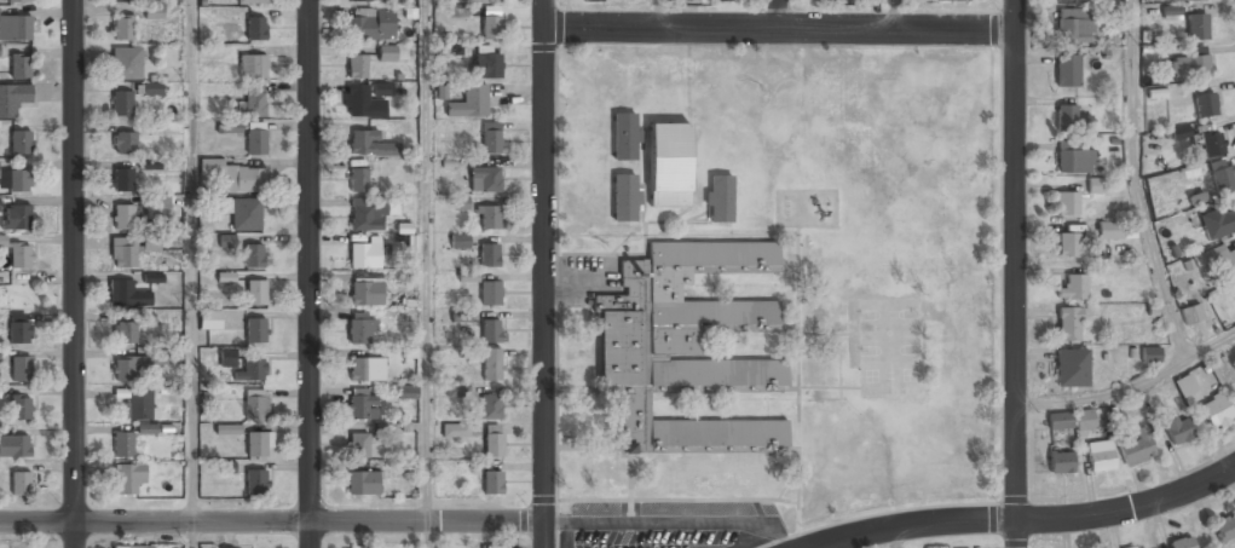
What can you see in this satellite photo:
building: (721, 0)
building: (953, 0)
building: (1070, 0)
building: (1187, 0)
building: (18, 1)
building: (123, 1)
building: (359, 1)
building: (484, 1)
building: (591, 1)
building: (827, 1)
building: (252, 2)
building: (155, 12)
building: (1171, 12)
road: (659, 13)
road: (777, 15)
road: (894, 15)
building: (1073, 25)
building: (1196, 25)
building: (371, 27)
building: (15, 28)
building: (491, 28)
building: (122, 29)
building: (256, 29)
road: (779, 29)
building: (387, 52)
building: (0, 53)
building: (125, 64)
building: (486, 65)
building: (1189, 65)
building: (21, 67)
building: (253, 67)
building: (357, 68)
building: (1067, 70)
building: (152, 88)
building: (382, 90)
building: (13, 99)
building: (468, 103)
building: (121, 104)
building: (253, 104)
building: (362, 104)
building: (1205, 104)
building: (1070, 119)
building: (229, 127)
building: (1181, 133)
building: (624, 135)
building: (491, 139)
building: (256, 142)
building: (21, 143)
building: (1210, 143)
building: (123, 144)
building: (369, 144)
building: (1073, 157)
building: (666, 165)
building: (149, 166)
building: (233, 177)
building: (122, 180)
building: (357, 180)
building: (484, 180)
building: (1223, 180)
building: (15, 181)
road: (1135, 181)
building: (1096, 185)
building: (623, 197)
building: (720, 198)
building: (461, 203)
building: (1067, 203)
building: (157, 208)
building: (370, 213)
building: (246, 214)
building: (123, 217)
building: (17, 218)
building: (489, 218)
building: (1229, 219)
building: (1109, 230)
building: (2, 241)
building: (227, 241)
building: (460, 241)
building: (1069, 246)
building: (123, 253)
building: (364, 255)
building: (489, 255)
building: (21, 256)
building: (253, 258)
building: (1216, 260)
road: (189, 261)
road: (426, 261)
road: (75, 273)
road: (308, 273)
road: (544, 273)
road: (1014, 273)
building: (226, 277)
building: (468, 277)
building: (1073, 288)
building: (365, 289)
building: (256, 293)
building: (489, 294)
building: (126, 295)
building: (1191, 313)
building: (461, 316)
building: (210, 319)
building: (1068, 325)
building: (19, 328)
building: (360, 329)
building: (255, 330)
building: (490, 331)
building: (125, 333)
building: (682, 346)
building: (1150, 354)
building: (229, 358)
building: (492, 365)
building: (19, 368)
building: (126, 368)
building: (367, 369)
building: (1072, 369)
building: (250, 371)
road: (1130, 386)
building: (1185, 386)
building: (457, 390)
building: (0, 392)
building: (409, 392)
building: (362, 403)
building: (255, 404)
building: (138, 405)
building: (491, 408)
building: (21, 409)
building: (1216, 411)
building: (1084, 420)
building: (1058, 421)
building: (1177, 428)
building: (229, 429)
building: (456, 431)
building: (494, 442)
building: (123, 445)
building: (258, 445)
building: (358, 445)
building: (15, 448)
building: (1136, 451)
building: (1101, 457)
building: (1061, 463)
building: (128, 479)
building: (255, 483)
building: (21, 484)
building: (363, 484)
building: (492, 484)
road: (1026, 518)
road: (37, 523)
road: (310, 523)
parking lot: (669, 525)
building: (1224, 527)
road: (190, 535)
road: (426, 535)
road: (895, 538)
building: (1182, 542)
building: (132, 547)
building: (248, 547)
building: (358, 547)
building: (1141, 547)

